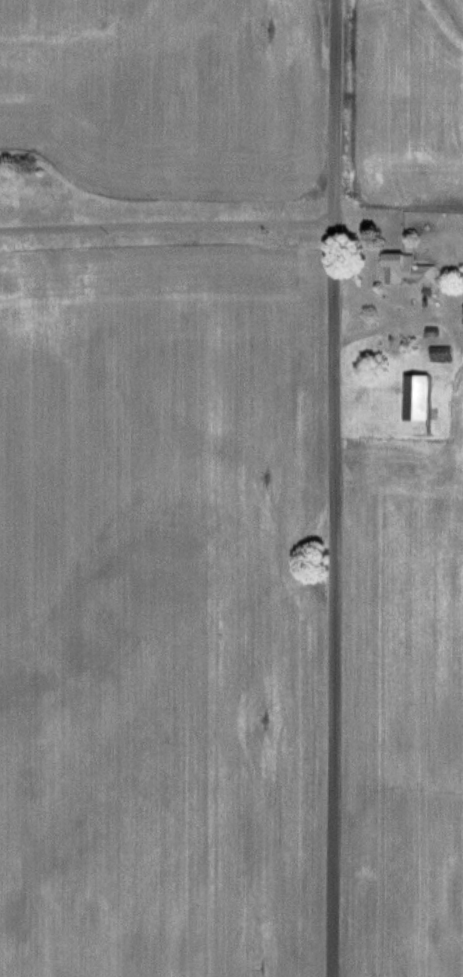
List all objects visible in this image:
road: (167, 223)
building: (411, 270)
road: (382, 306)
building: (441, 353)
building: (422, 405)
road: (332, 488)

